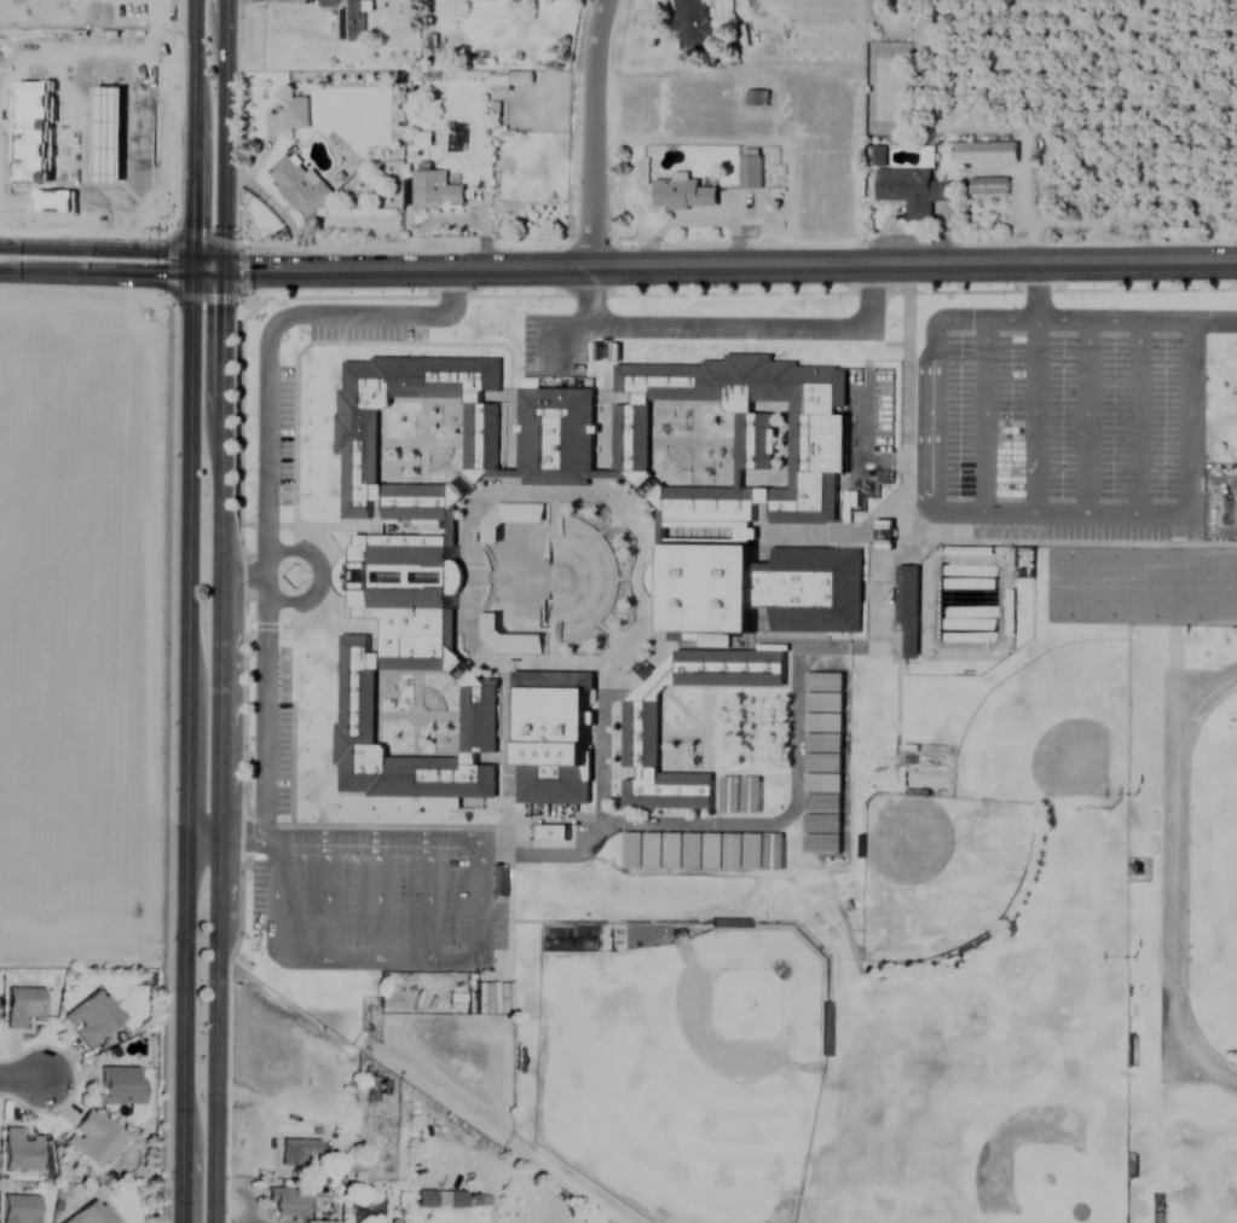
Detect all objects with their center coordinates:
building: (349, 19)
building: (694, 24)
crop: (81, 109)
building: (296, 114)
road: (594, 134)
road: (222, 135)
building: (985, 152)
building: (878, 156)
building: (752, 173)
building: (989, 186)
building: (300, 188)
building: (912, 191)
building: (437, 192)
building: (684, 195)
road: (112, 246)
road: (729, 267)
road: (110, 275)
road: (590, 294)
road: (1108, 316)
road: (752, 318)
road: (554, 324)
building: (607, 352)
road: (865, 420)
building: (362, 433)
building: (559, 438)
road: (267, 496)
building: (751, 498)
road: (1013, 508)
building: (888, 536)
road: (242, 572)
park: (1068, 581)
park: (1112, 582)
park: (1155, 582)
park: (1197, 582)
park: (1227, 582)
building: (911, 608)
road: (187, 611)
crop: (77, 618)
building: (405, 663)
building: (643, 737)
building: (554, 738)
road: (216, 748)
building: (827, 762)
road: (768, 817)
road: (599, 821)
road: (202, 836)
building: (555, 836)
building: (695, 853)
road: (330, 895)
road: (377, 896)
road: (428, 896)
road: (480, 945)
building: (23, 1006)
building: (93, 1017)
building: (825, 1029)
road: (23, 1075)
building: (119, 1085)
building: (376, 1090)
building: (93, 1141)
building: (21, 1150)
building: (295, 1150)
building: (354, 1165)
building: (456, 1199)
building: (426, 1200)
building: (288, 1201)
building: (365, 1207)
building: (19, 1208)
building: (91, 1213)
building: (319, 1222)

